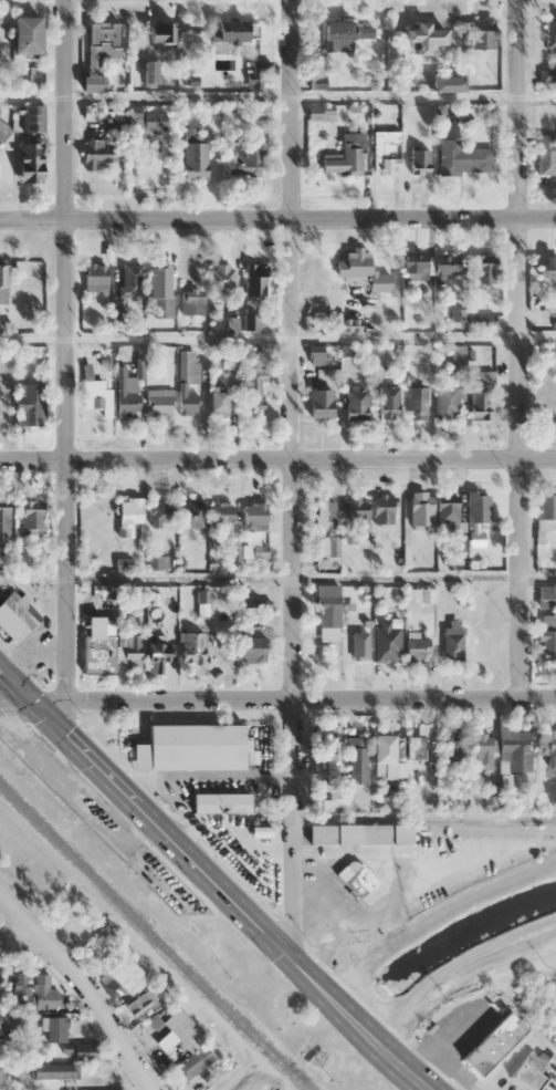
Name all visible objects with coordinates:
building: (227, 30)
building: (481, 33)
building: (550, 33)
building: (25, 34)
building: (160, 34)
building: (343, 34)
building: (422, 37)
building: (102, 41)
building: (146, 68)
building: (473, 75)
building: (34, 79)
building: (91, 82)
building: (447, 84)
road: (277, 95)
building: (109, 112)
building: (260, 112)
building: (30, 117)
building: (151, 120)
building: (384, 152)
building: (193, 153)
building: (546, 154)
building: (99, 155)
building: (462, 158)
building: (243, 159)
building: (343, 159)
building: (29, 160)
building: (419, 160)
road: (277, 221)
building: (428, 266)
building: (545, 268)
building: (31, 273)
building: (483, 273)
building: (221, 276)
building: (94, 277)
building: (253, 279)
building: (130, 280)
building: (356, 283)
building: (161, 291)
building: (191, 303)
road: (277, 338)
road: (514, 347)
road: (63, 350)
building: (186, 381)
building: (256, 386)
building: (94, 394)
building: (127, 395)
building: (218, 399)
building: (479, 401)
building: (158, 402)
building: (388, 402)
building: (416, 402)
building: (445, 402)
building: (319, 403)
building: (29, 404)
building: (356, 404)
building: (4, 409)
road: (277, 463)
road: (295, 479)
building: (476, 507)
building: (419, 508)
building: (356, 509)
building: (381, 509)
building: (546, 509)
building: (223, 511)
building: (445, 511)
building: (190, 512)
building: (157, 515)
building: (253, 515)
building: (128, 516)
building: (31, 518)
building: (3, 521)
building: (325, 526)
road: (277, 578)
building: (326, 612)
building: (18, 613)
building: (547, 637)
building: (386, 642)
building: (452, 643)
building: (190, 646)
building: (360, 646)
building: (416, 646)
building: (130, 647)
building: (156, 647)
building: (251, 648)
building: (97, 654)
road: (310, 696)
traffic signals: (30, 698)
road: (32, 698)
traffic signals: (64, 700)
building: (189, 747)
building: (413, 748)
building: (384, 749)
building: (452, 749)
building: (480, 749)
building: (514, 749)
building: (549, 751)
building: (333, 758)
building: (357, 759)
building: (219, 802)
road: (423, 818)
building: (358, 833)
building: (28, 863)
road: (212, 881)
building: (358, 881)
road: (19, 936)
railway: (154, 936)
building: (125, 974)
building: (20, 984)
road: (83, 986)
building: (43, 992)
building: (140, 1003)
building: (4, 1019)
building: (53, 1027)
building: (187, 1042)
building: (492, 1042)
building: (1, 1050)
building: (83, 1050)
building: (52, 1070)
building: (529, 1071)
building: (0, 1077)

